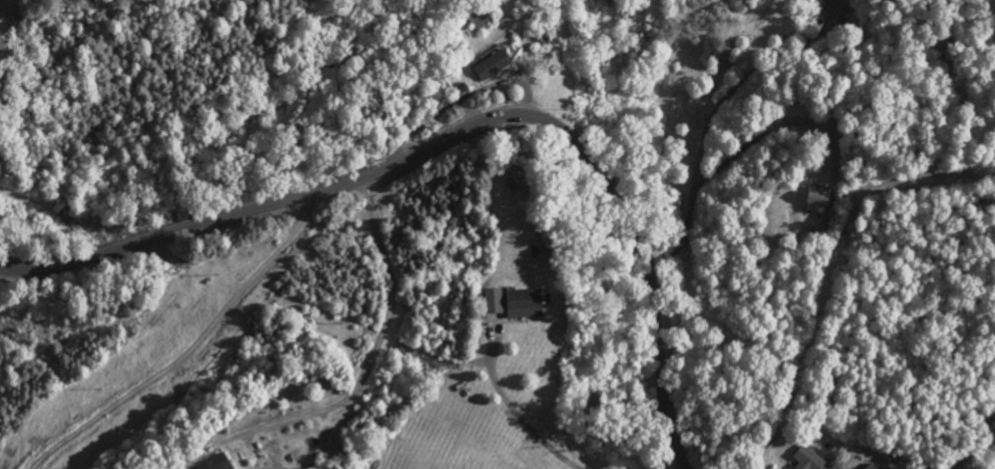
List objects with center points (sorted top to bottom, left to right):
building: (548, 42)
building: (489, 69)
road: (459, 99)
road: (456, 135)
building: (816, 203)
building: (489, 305)
building: (519, 307)
road: (192, 353)
road: (361, 371)
road: (516, 424)
road: (976, 442)
building: (804, 460)
building: (218, 464)
road: (680, 467)
building: (868, 468)

